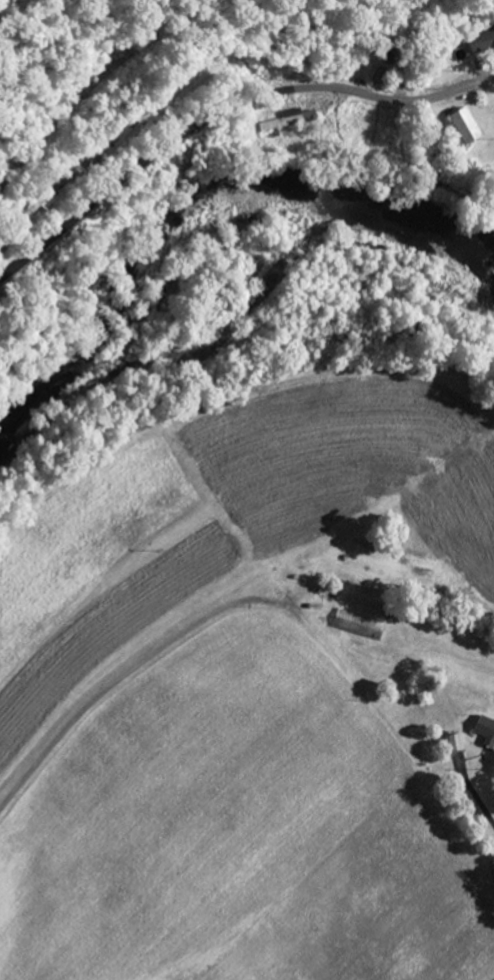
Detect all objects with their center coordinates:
building: (482, 41)
railway: (91, 83)
road: (223, 110)
building: (283, 121)
building: (464, 127)
river: (200, 193)
road: (133, 671)
building: (485, 731)

